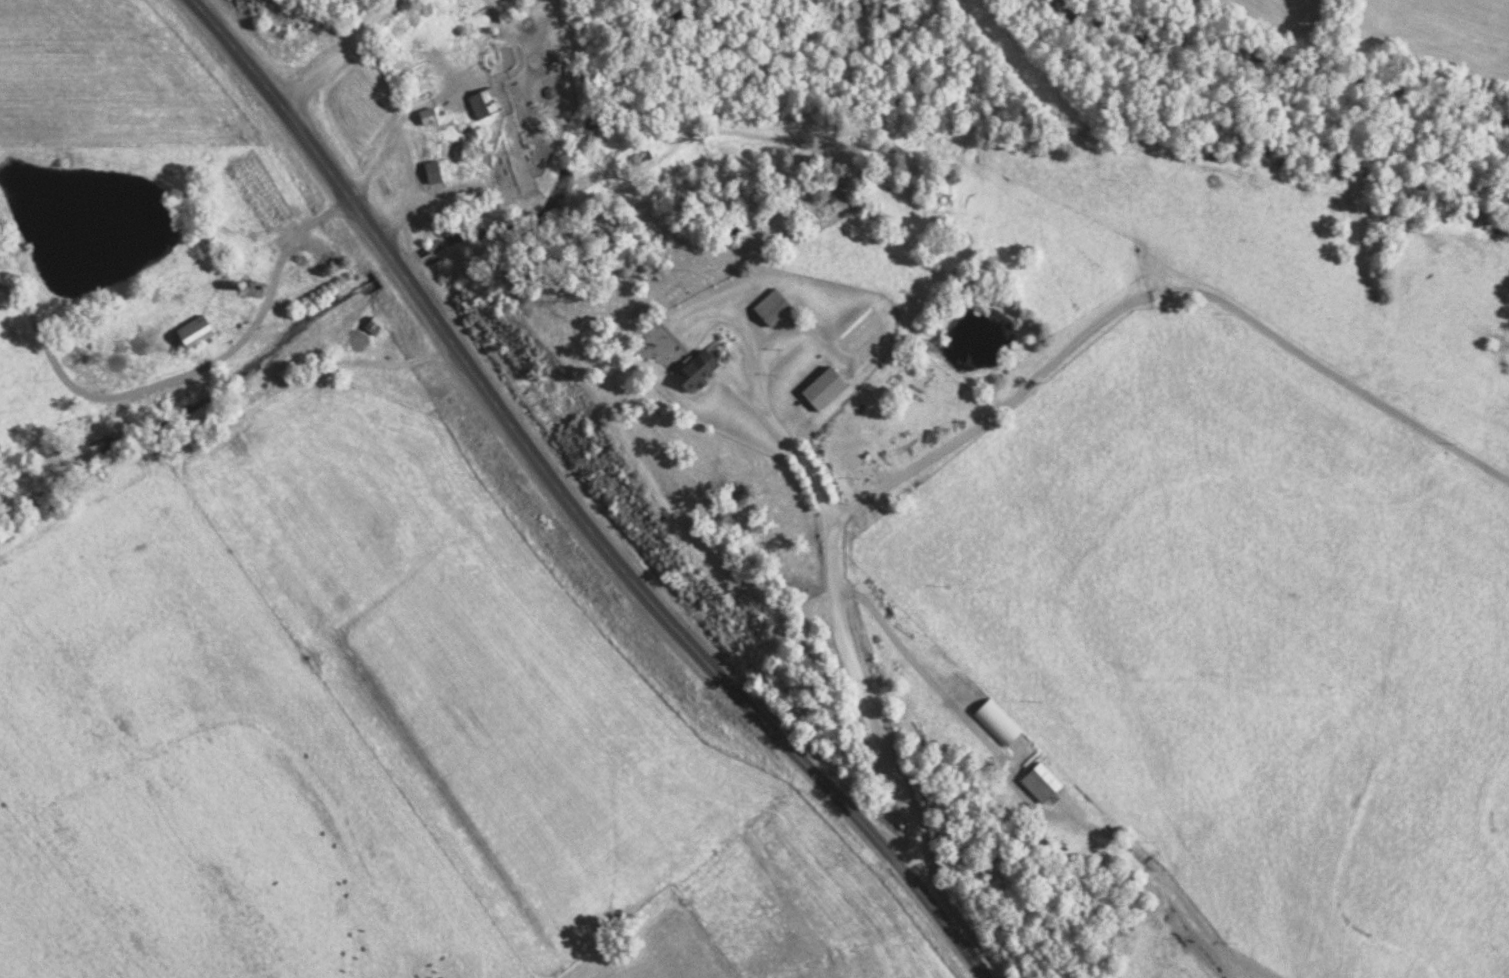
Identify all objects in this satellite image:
road: (340, 56)
building: (487, 105)
building: (432, 118)
building: (445, 170)
road: (1160, 293)
building: (776, 309)
road: (262, 320)
building: (375, 329)
building: (200, 332)
building: (699, 370)
building: (828, 390)
road: (570, 504)
road: (842, 620)
building: (1044, 785)

